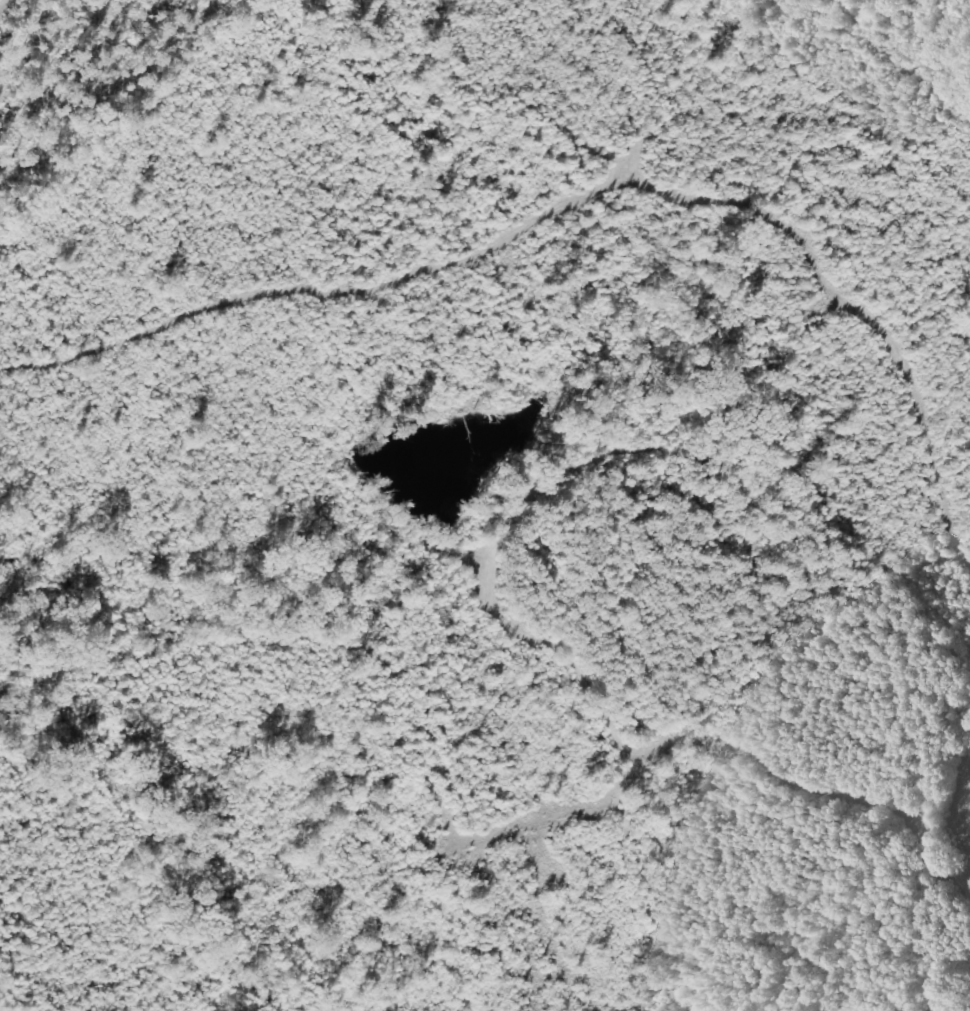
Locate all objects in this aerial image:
road: (966, 620)

